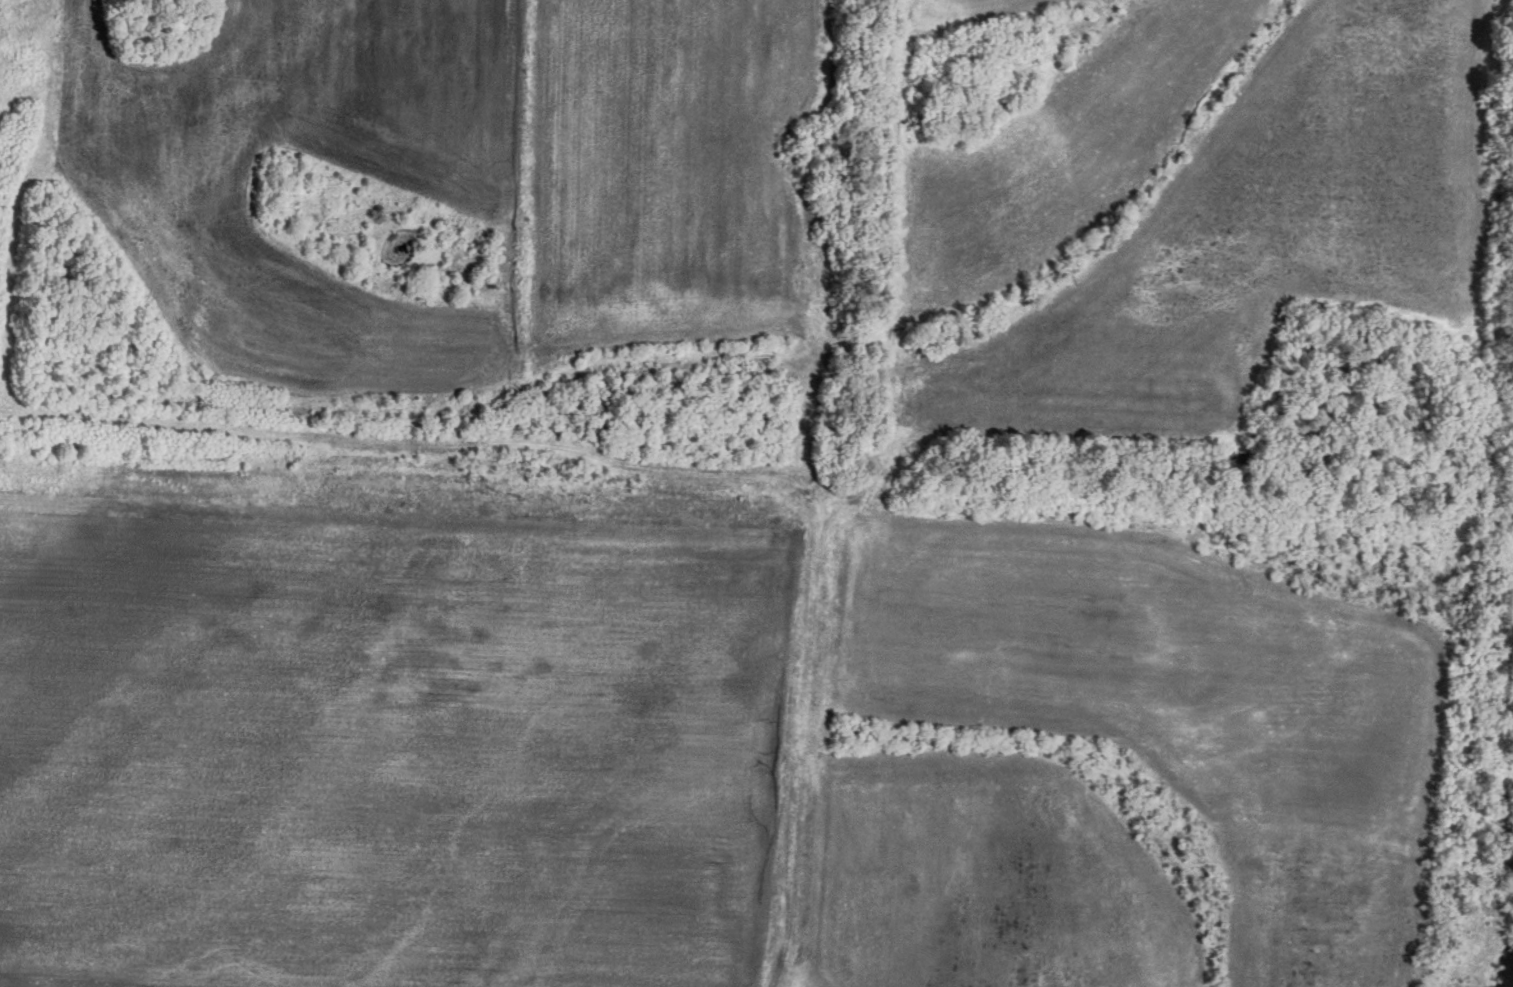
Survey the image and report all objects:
road: (1453, 458)

